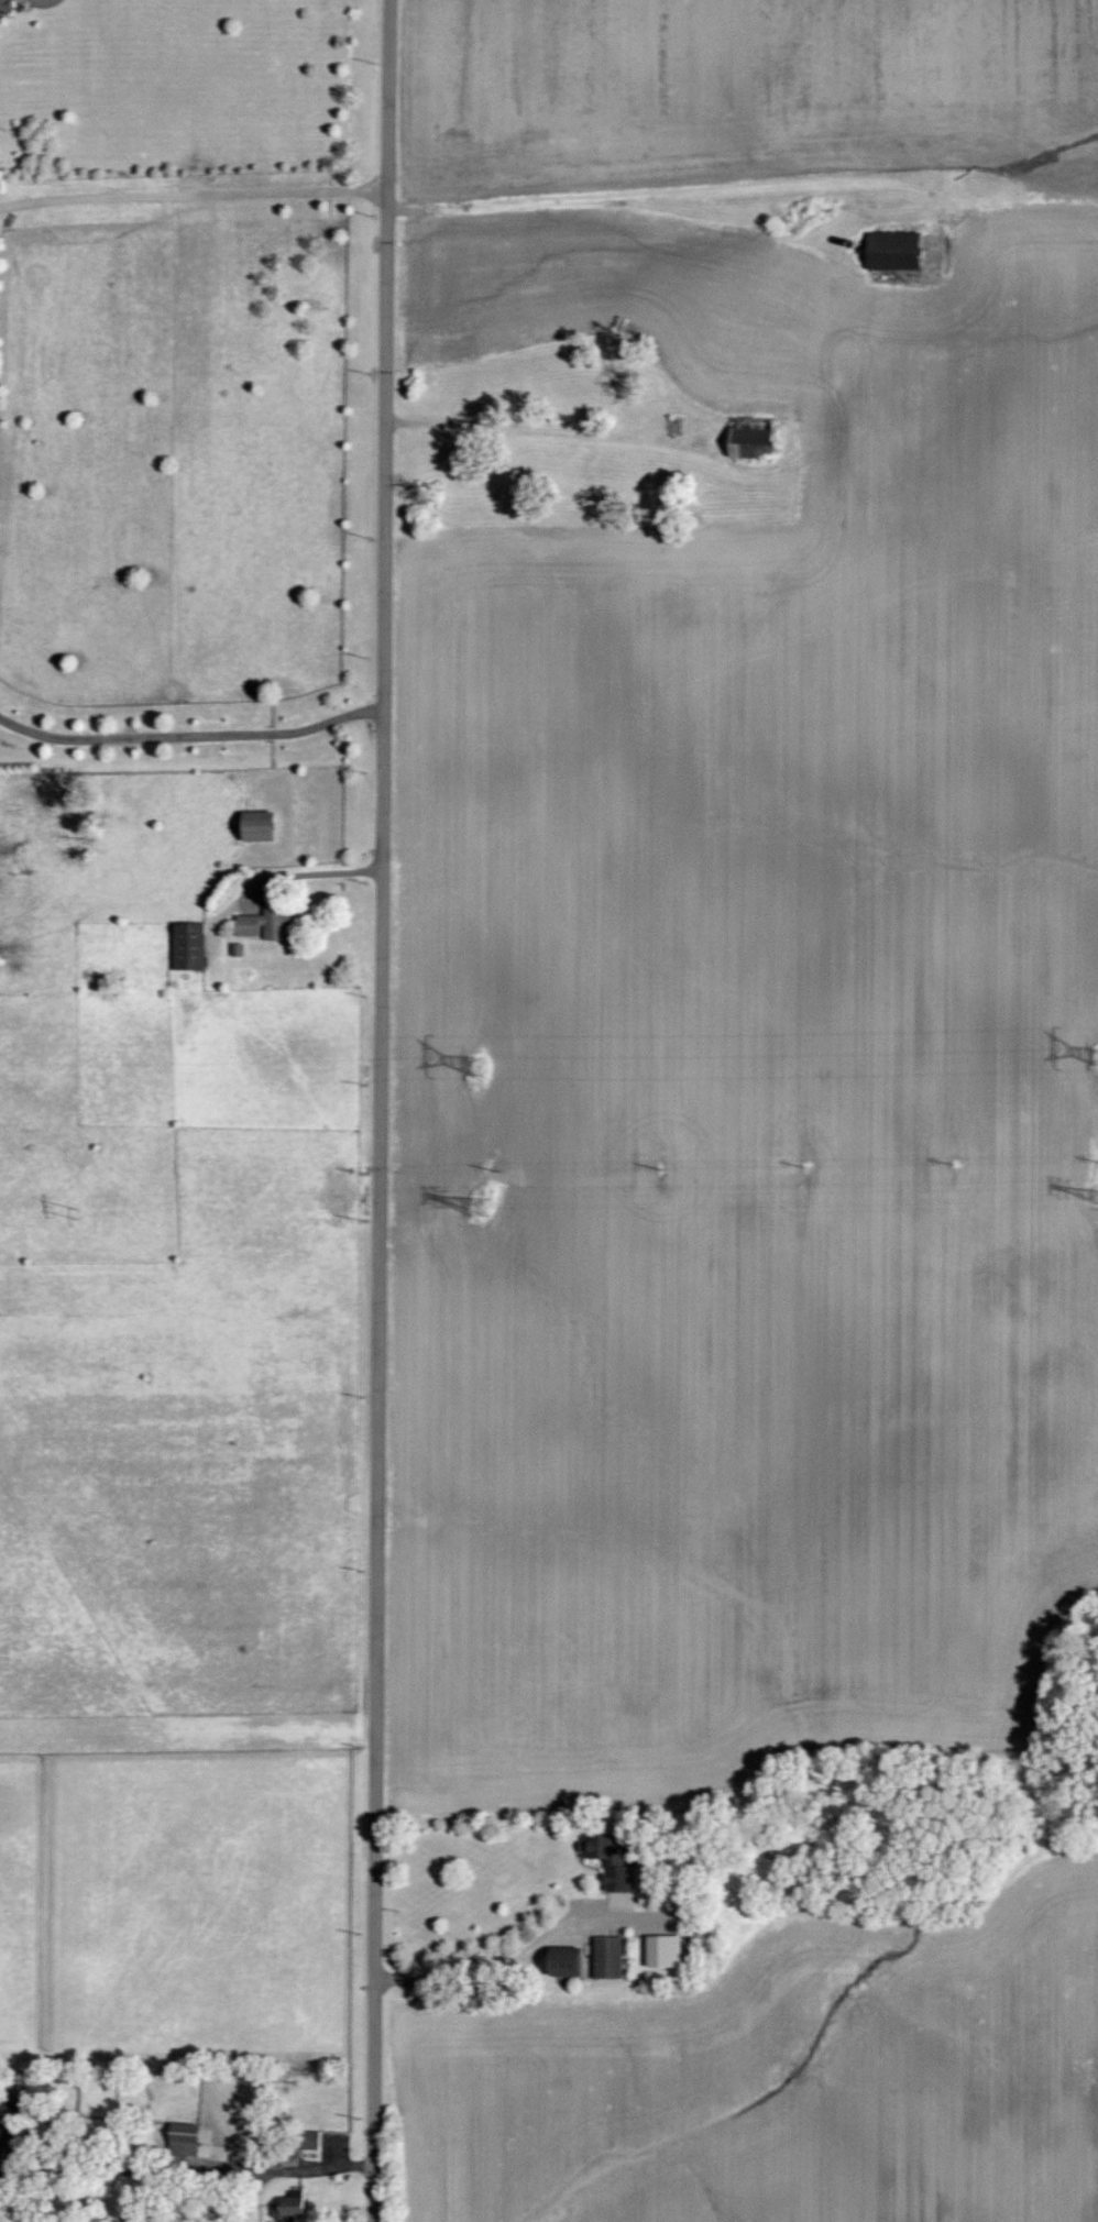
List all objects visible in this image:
building: (7, 5)
road: (616, 219)
building: (897, 252)
road: (543, 429)
road: (193, 732)
building: (262, 826)
road: (292, 877)
building: (266, 925)
building: (190, 945)
power tower: (1096, 1057)
power tower: (475, 1070)
road: (381, 1110)
power tower: (479, 1209)
power tower: (80, 1212)
building: (611, 1861)
building: (666, 1949)
building: (611, 1956)
building: (569, 1960)
road: (504, 1966)
building: (185, 2138)
building: (311, 2139)
building: (205, 2142)
road: (273, 2172)
building: (292, 2204)

